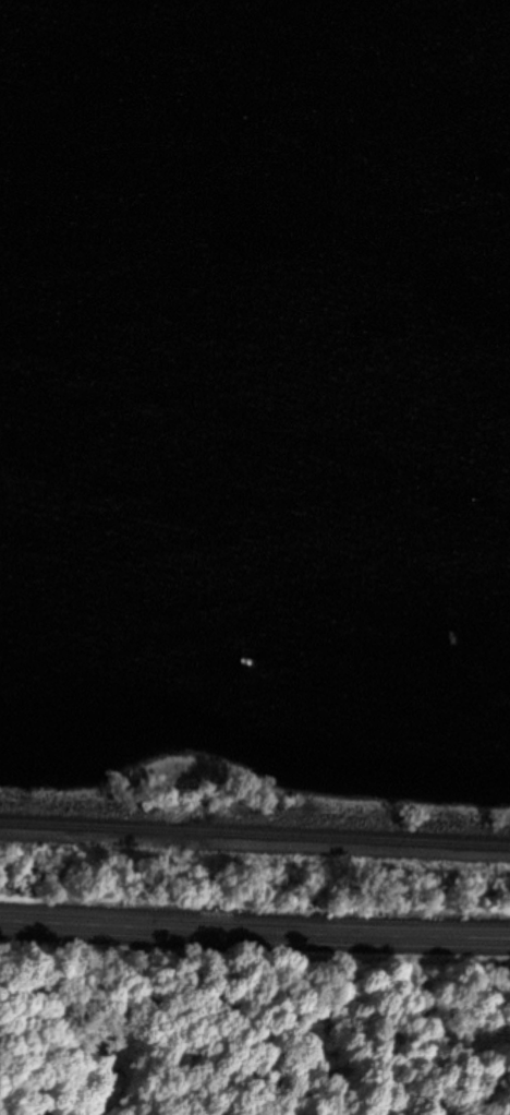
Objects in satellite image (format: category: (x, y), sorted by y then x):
railway: (83, 826)
railway: (177, 830)
railway: (349, 838)
road: (255, 926)

